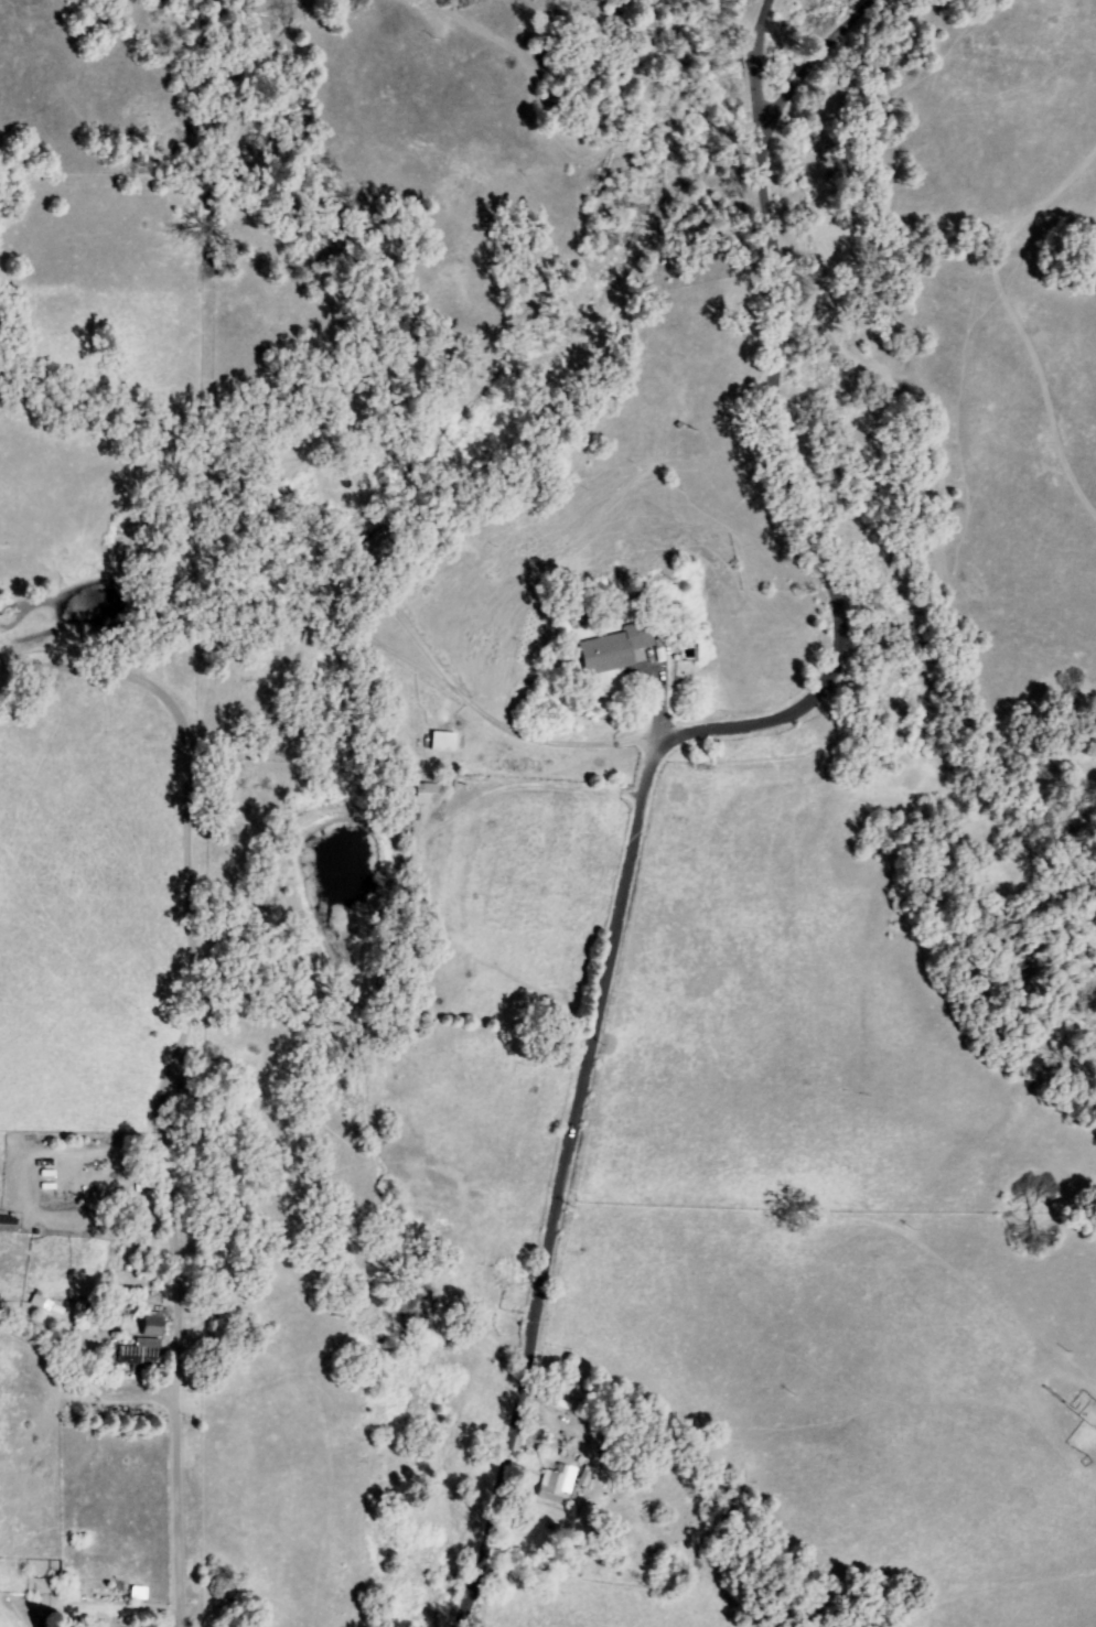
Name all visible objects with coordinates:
road: (759, 62)
building: (377, 546)
building: (358, 569)
building: (614, 650)
building: (443, 743)
road: (659, 747)
building: (411, 959)
road: (172, 1068)
road: (85, 1173)
building: (39, 1304)
building: (153, 1325)
building: (142, 1354)
building: (584, 1480)
building: (557, 1485)

